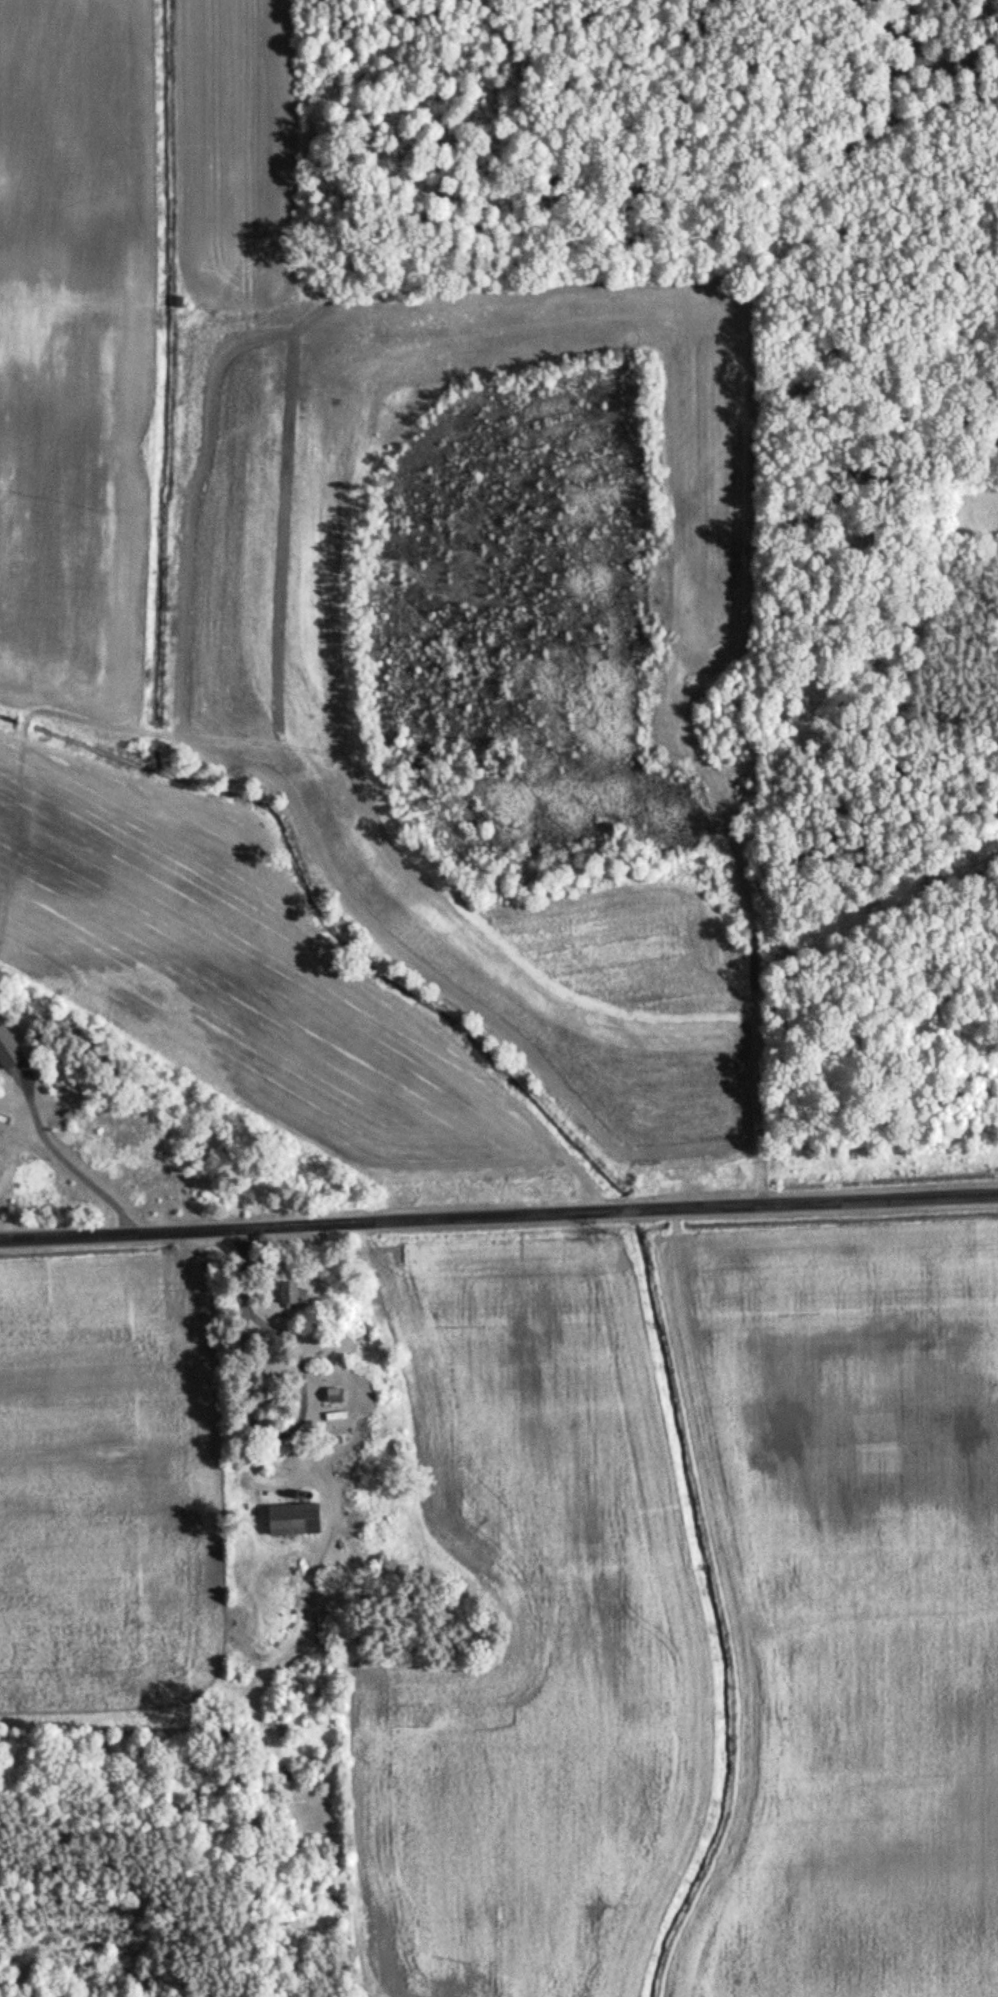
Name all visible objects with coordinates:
building: (8, 1053)
building: (2, 1106)
road: (499, 1216)
building: (291, 1296)
building: (330, 1396)
building: (287, 1519)

